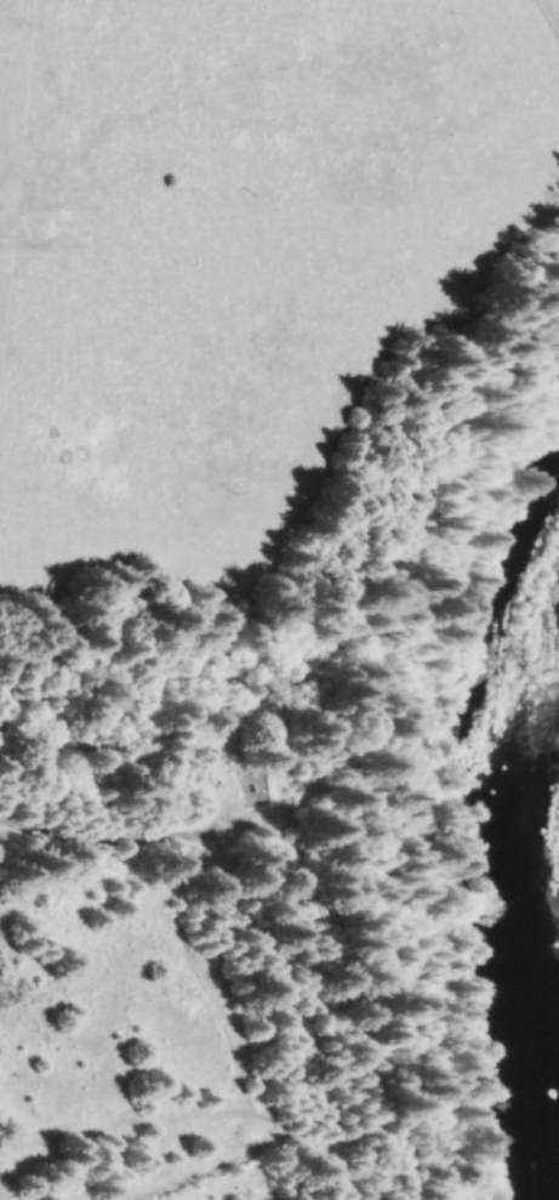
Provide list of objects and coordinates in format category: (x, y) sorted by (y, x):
river: (496, 794)

